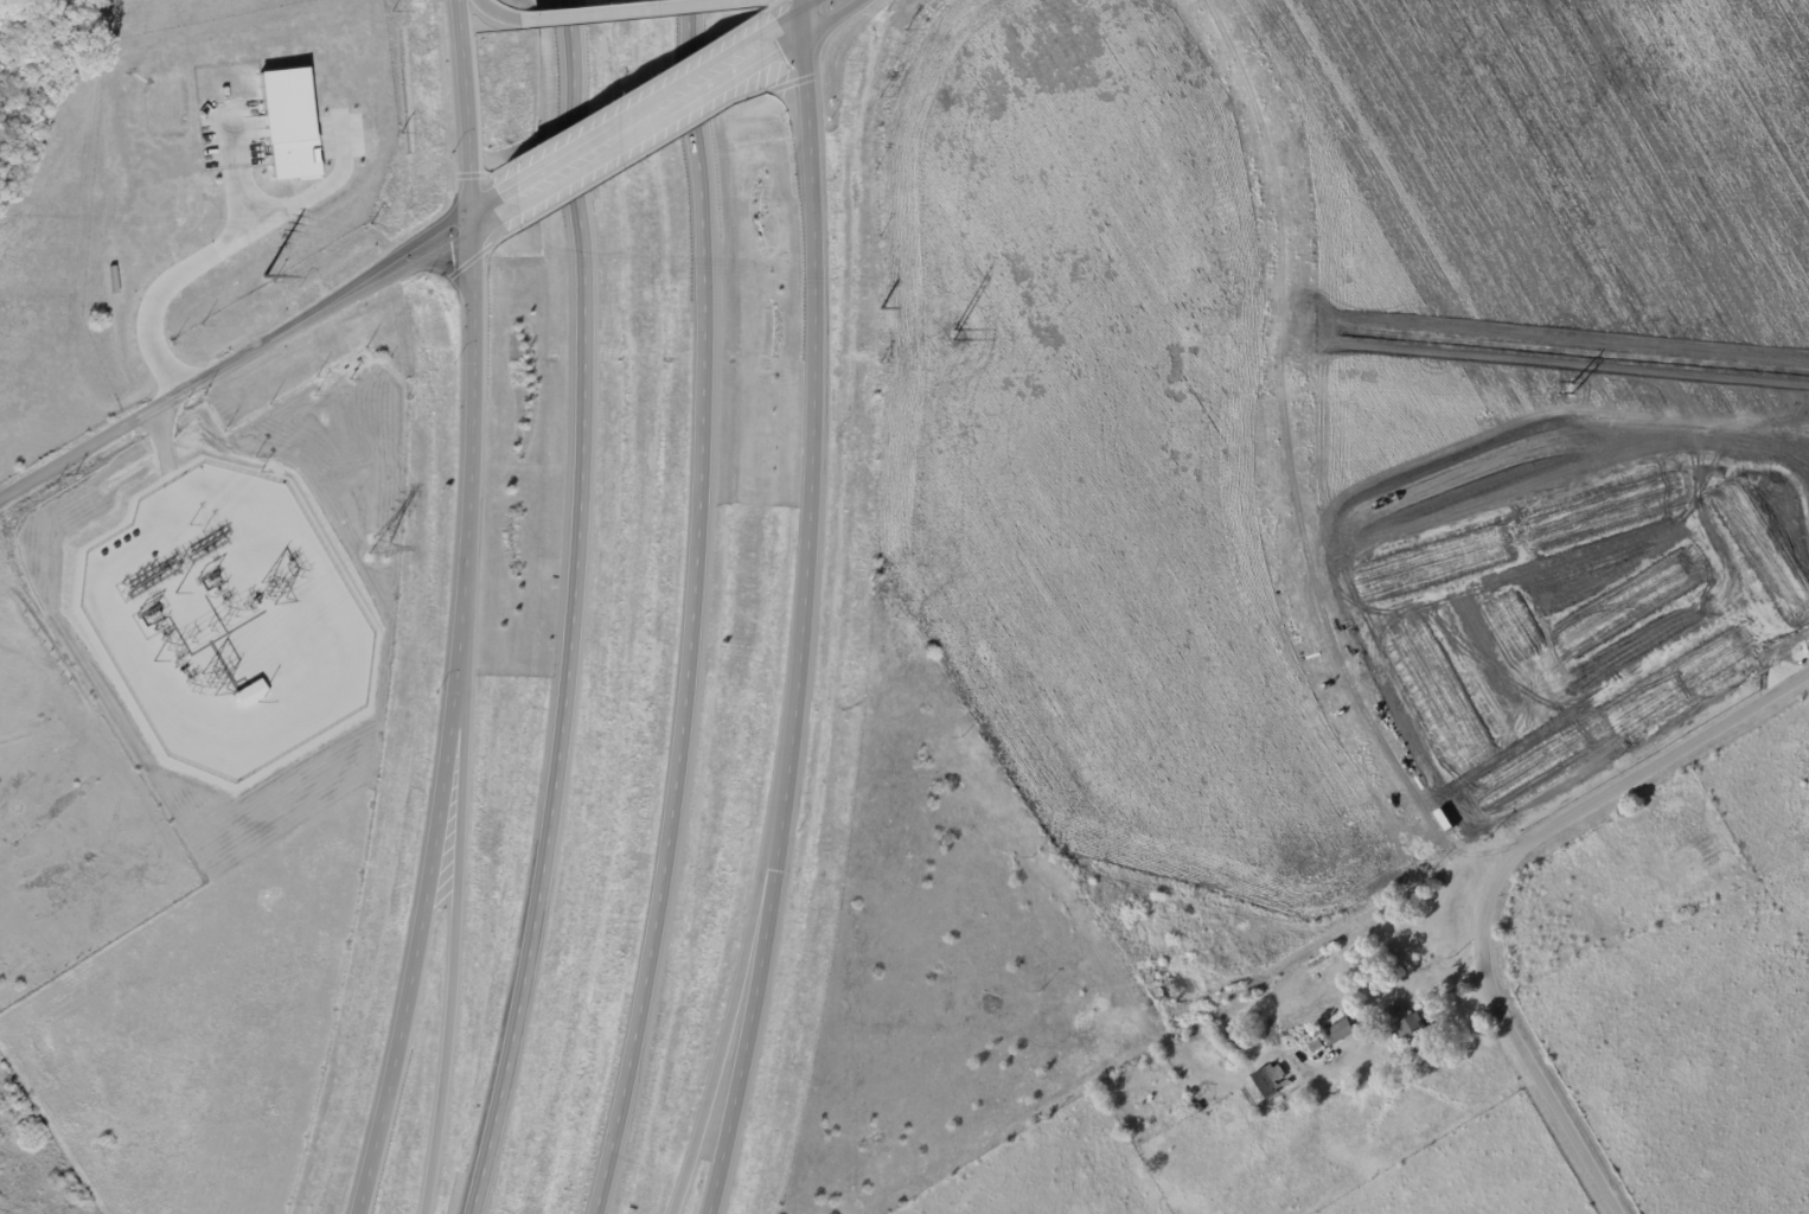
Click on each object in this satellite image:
road: (602, 11)
road: (818, 14)
road: (778, 39)
road: (464, 110)
building: (289, 122)
road: (638, 122)
road: (302, 198)
road: (494, 209)
road: (181, 270)
power tower: (217, 275)
power tower: (955, 337)
road: (236, 363)
power tower: (1577, 390)
road: (567, 611)
road: (690, 611)
road: (803, 611)
road: (446, 722)
road: (1496, 877)
road: (449, 918)
building: (1342, 1030)
building: (1415, 1031)
road: (721, 1052)
building: (1271, 1082)

